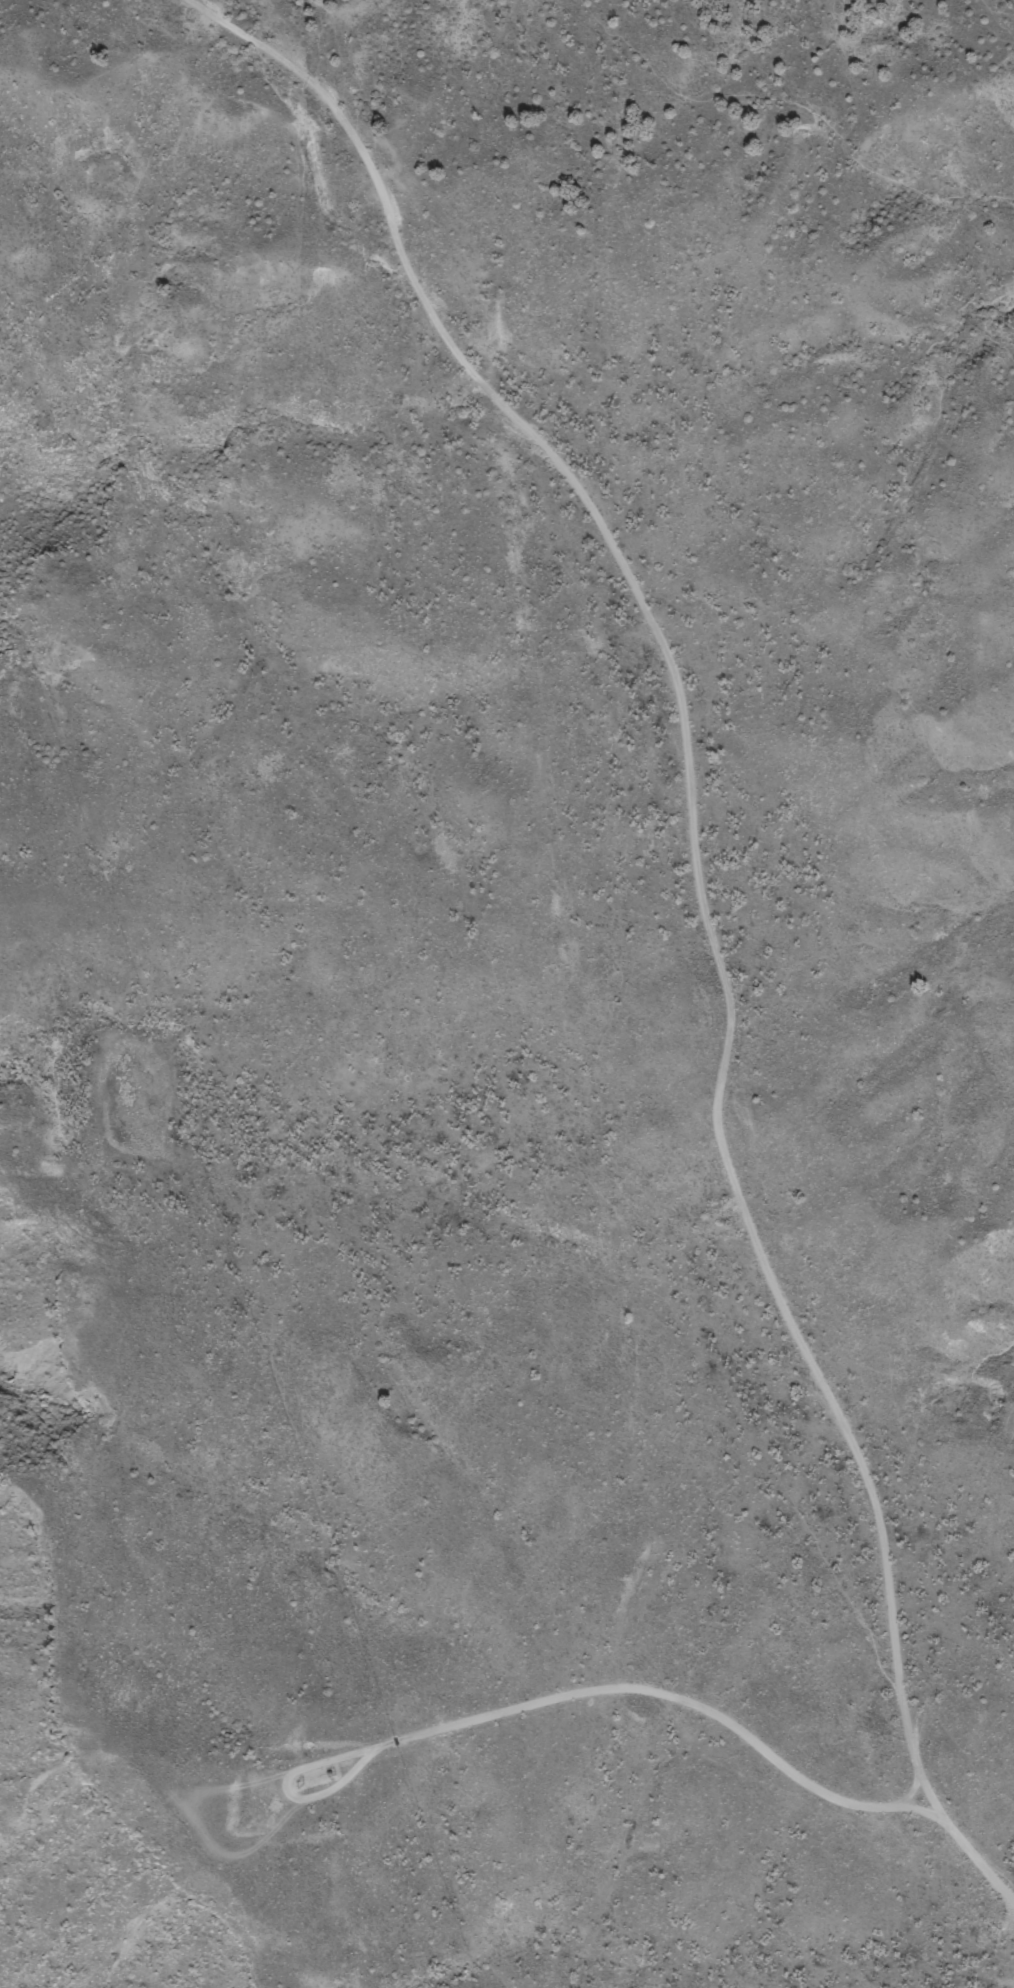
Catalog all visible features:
road: (704, 889)
road: (651, 1675)

